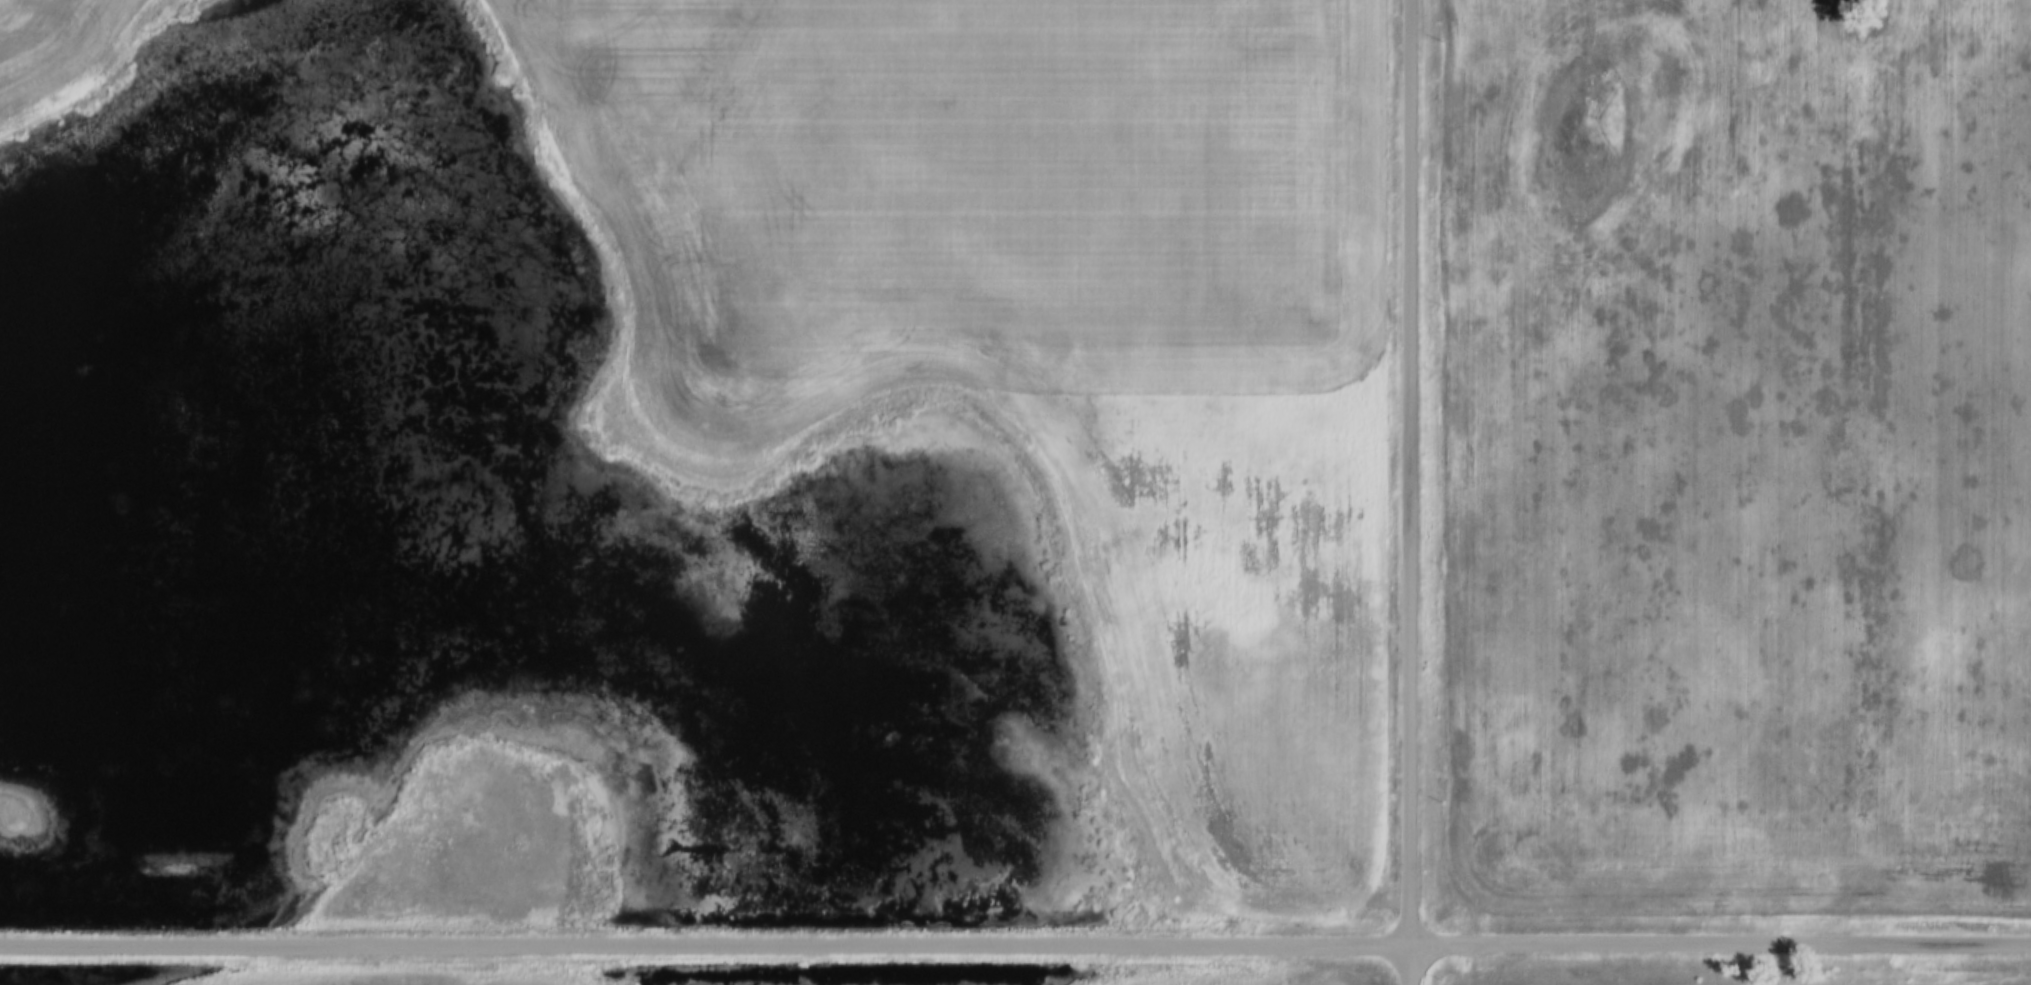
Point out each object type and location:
road: (1409, 492)
road: (1015, 946)

